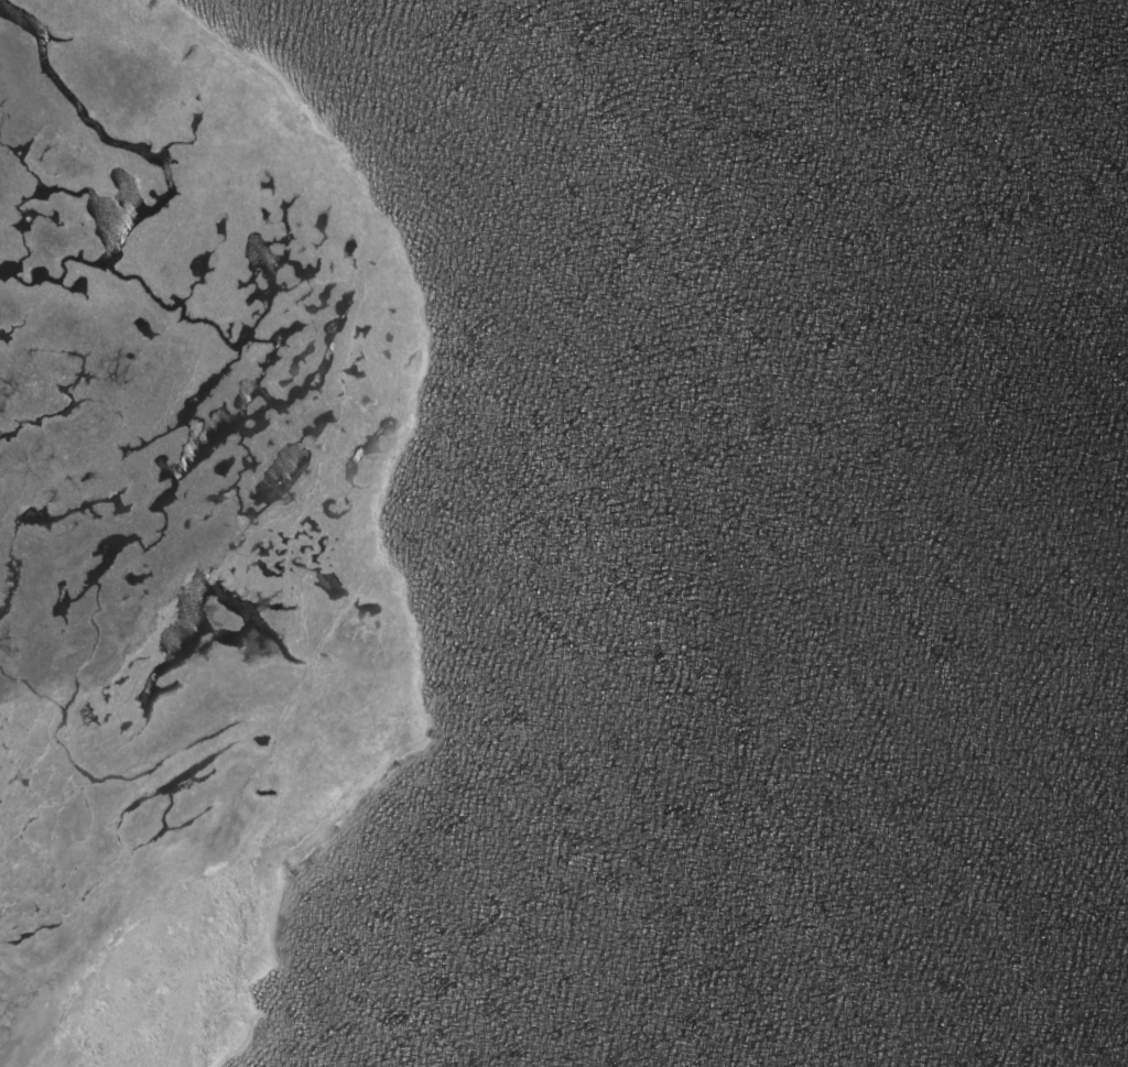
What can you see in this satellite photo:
road: (120, 935)

